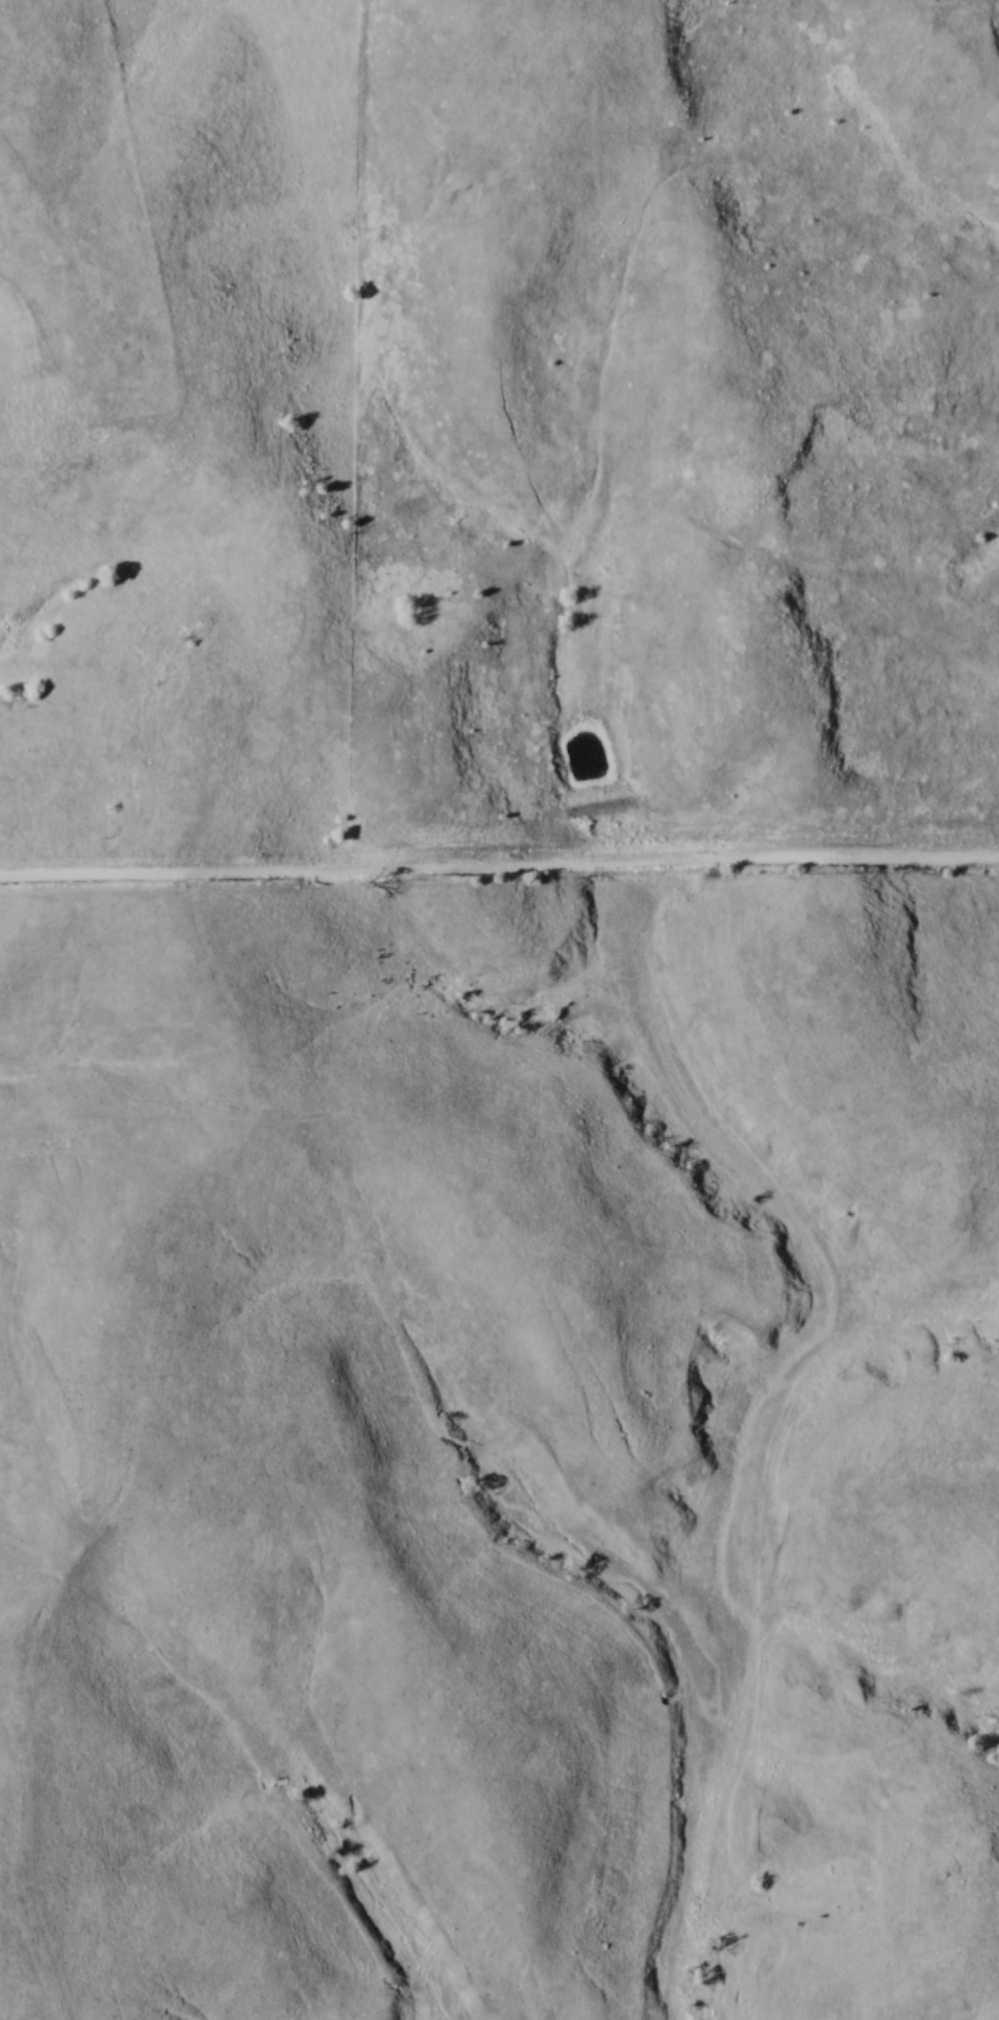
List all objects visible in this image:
road: (499, 864)

